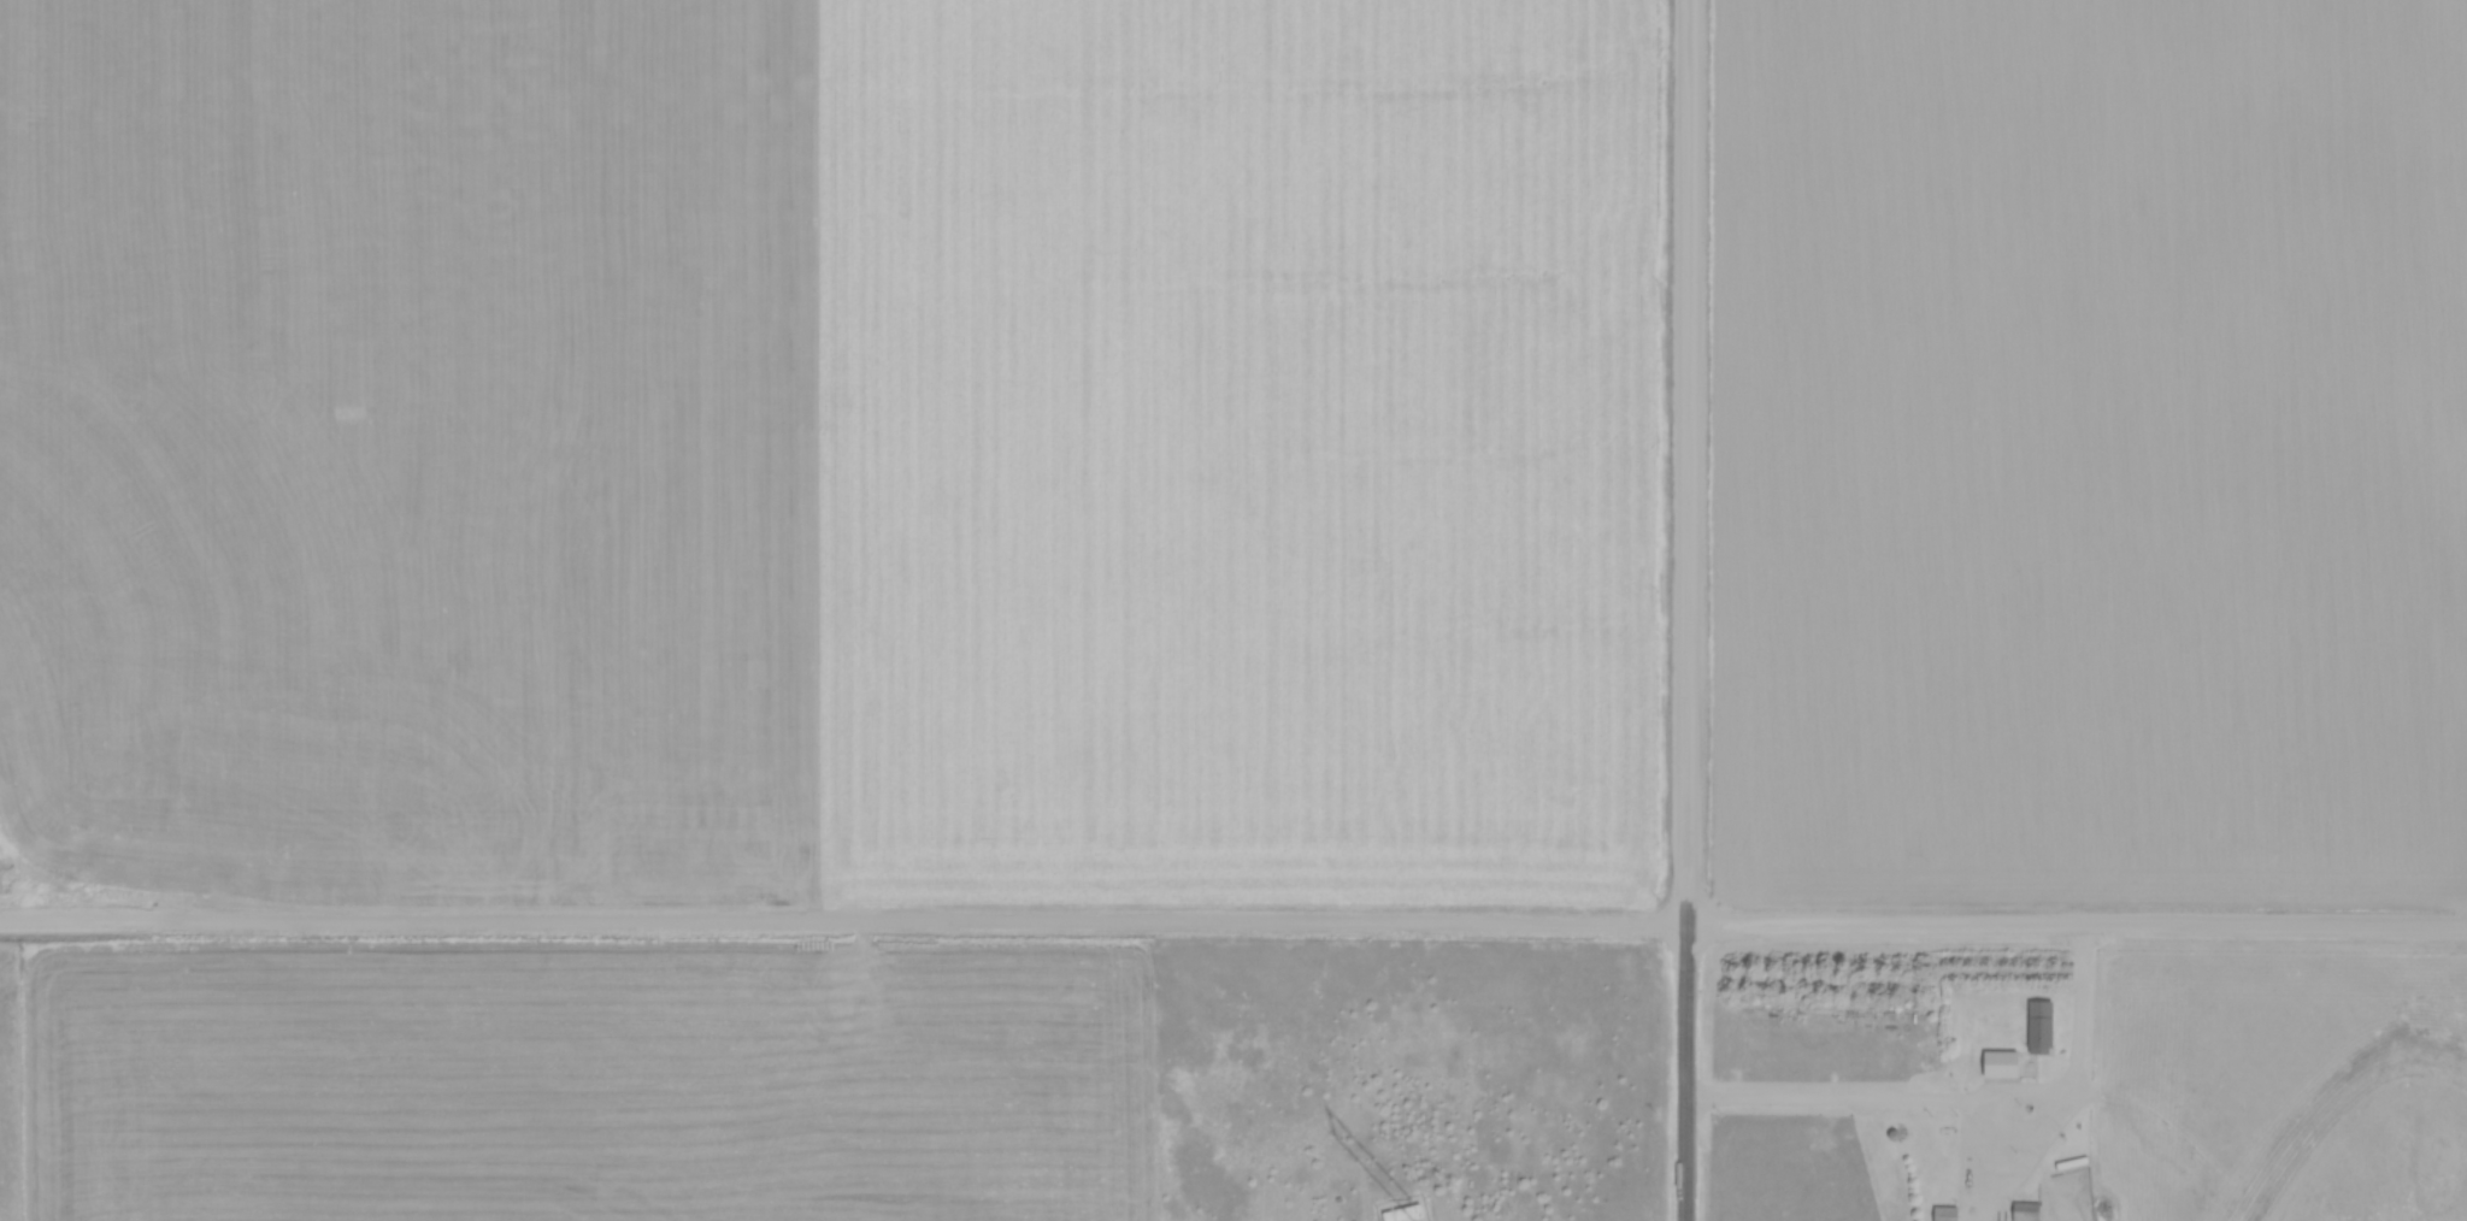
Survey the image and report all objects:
road: (1686, 462)
road: (842, 918)
road: (2076, 924)
building: (2043, 1025)
building: (1983, 1069)
road: (1683, 1073)
crop: (588, 1081)
road: (1956, 1096)
building: (2027, 1210)
building: (1405, 1213)
building: (1948, 1213)

